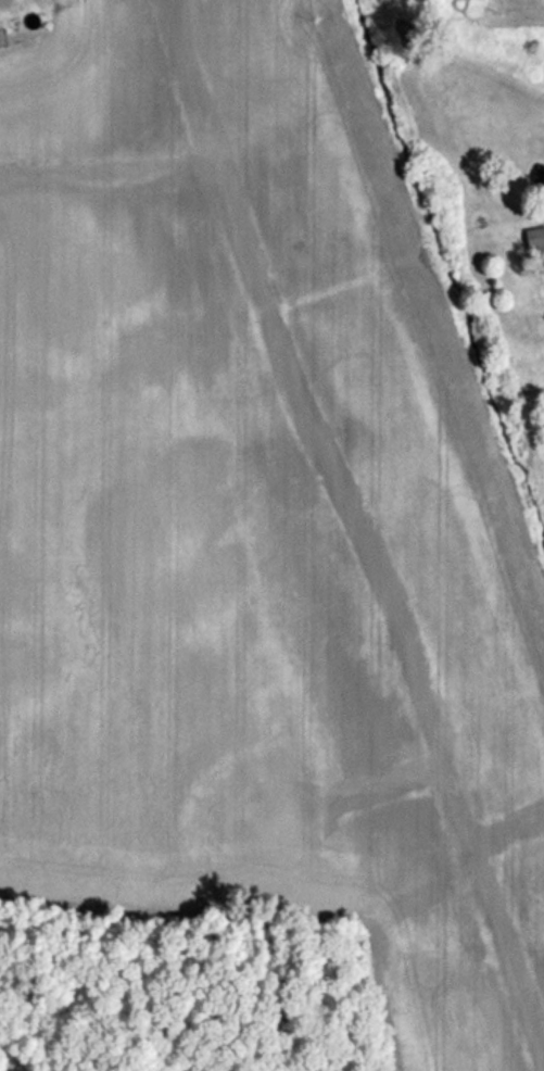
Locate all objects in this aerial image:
road: (208, 159)
building: (535, 239)

